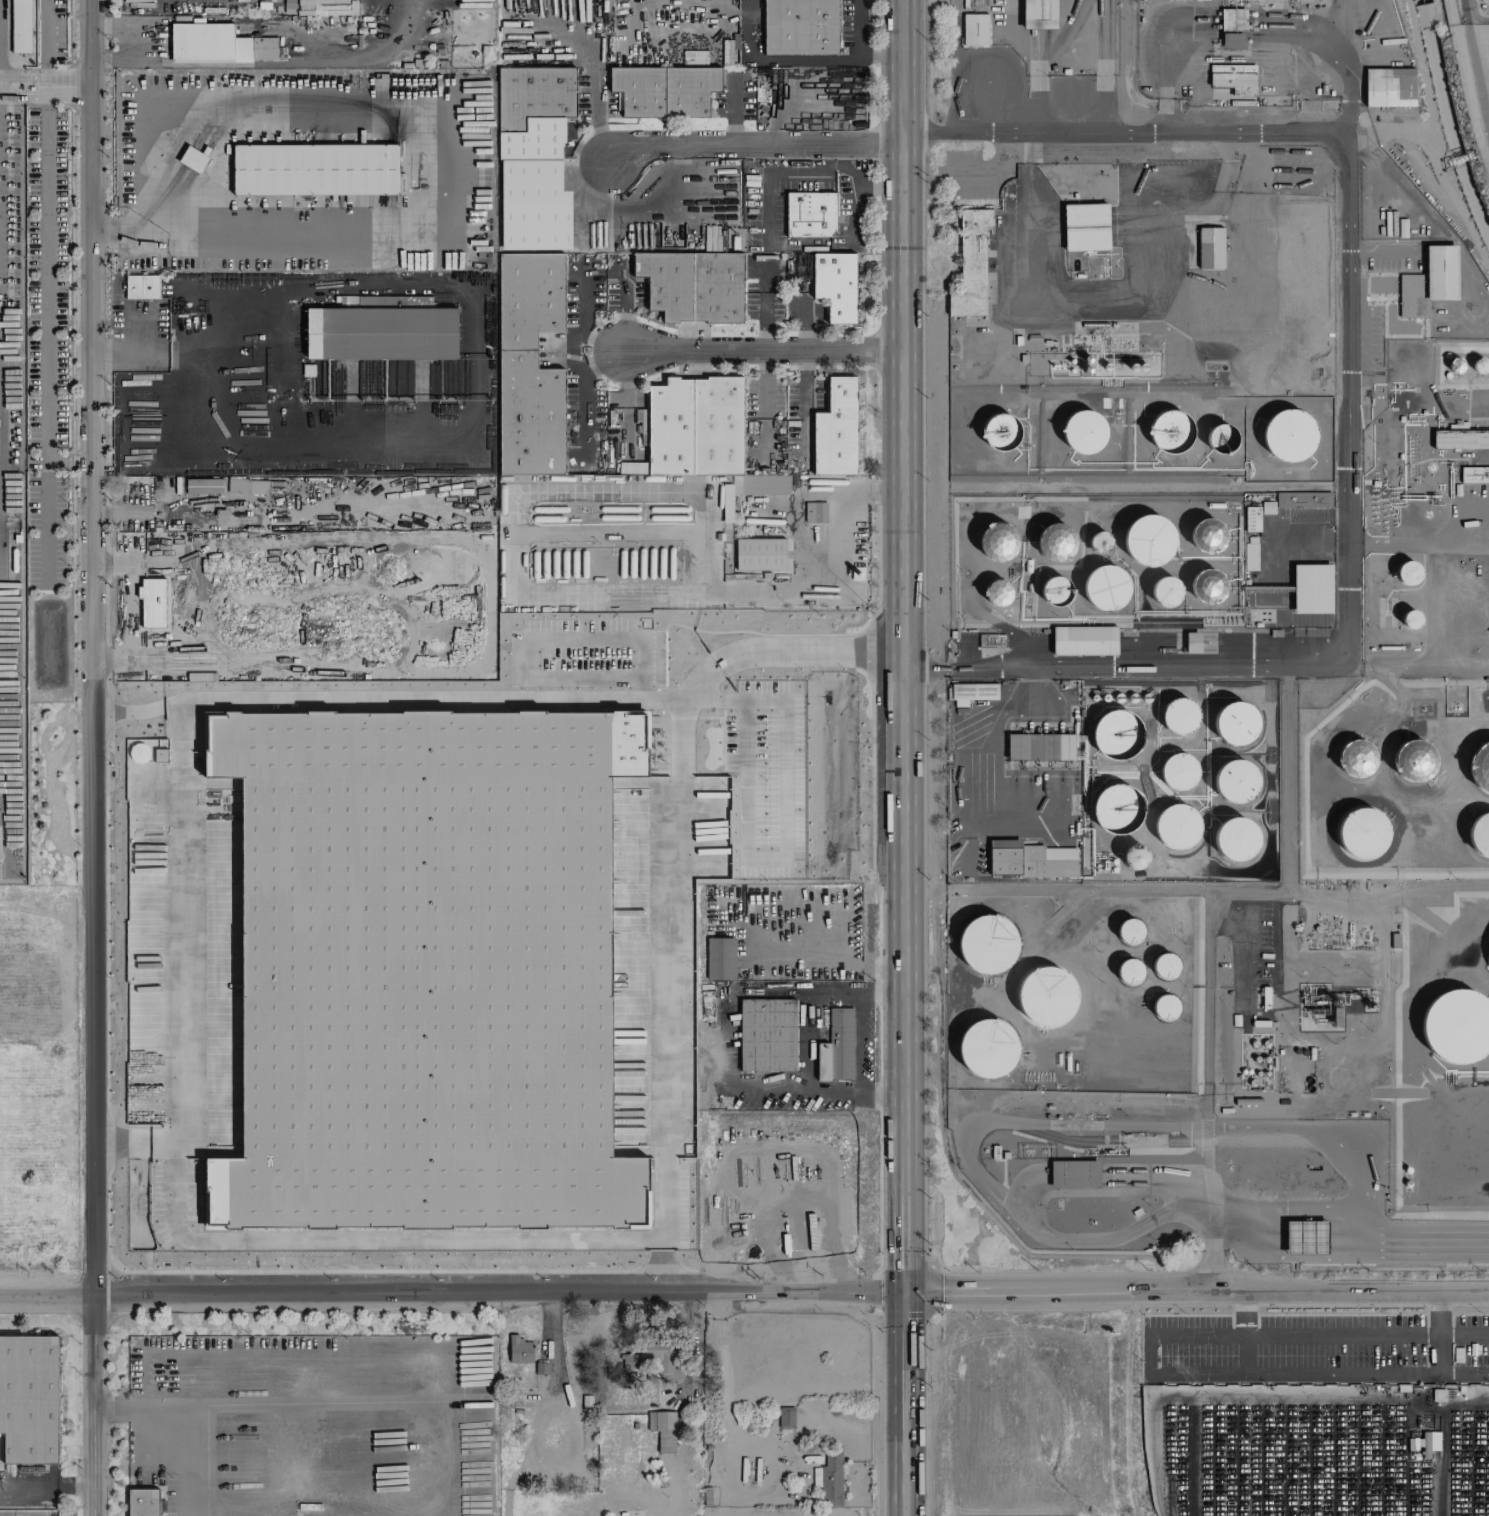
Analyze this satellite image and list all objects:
building: (284, 6)
road: (1037, 14)
building: (1039, 15)
road: (1425, 16)
building: (1232, 20)
building: (21, 26)
building: (800, 27)
building: (975, 30)
road: (1104, 38)
building: (1233, 41)
road: (137, 44)
building: (217, 45)
road: (1036, 79)
building: (1234, 80)
road: (56, 86)
road: (11, 88)
building: (1389, 88)
building: (665, 91)
road: (419, 95)
road: (1104, 104)
road: (1431, 119)
road: (1121, 133)
road: (752, 146)
building: (534, 157)
building: (315, 170)
road: (995, 172)
building: (810, 215)
building: (1086, 227)
building: (1210, 248)
road: (1379, 251)
building: (971, 264)
building: (1429, 282)
building: (835, 285)
building: (692, 286)
building: (142, 287)
road: (624, 310)
building: (382, 330)
road: (46, 332)
road: (763, 351)
building: (1086, 360)
storage tank: (1086, 360)
building: (1070, 362)
storage tank: (1070, 362)
building: (529, 366)
building: (1479, 366)
storage tank: (1479, 366)
building: (1454, 367)
storage tank: (1454, 367)
building: (1106, 368)
storage tank: (1106, 368)
building: (1132, 368)
storage tank: (1132, 368)
building: (1141, 368)
storage tank: (1141, 368)
building: (1086, 370)
storage tank: (1086, 370)
building: (1070, 371)
storage tank: (1070, 371)
road: (804, 382)
building: (696, 428)
building: (836, 431)
building: (1003, 431)
storage tank: (1003, 431)
building: (1172, 432)
storage tank: (1172, 432)
building: (1084, 434)
storage tank: (1084, 434)
building: (1289, 434)
storage tank: (1289, 434)
building: (1222, 438)
storage tank: (1222, 438)
building: (1461, 440)
building: (1474, 475)
building: (768, 486)
building: (204, 487)
building: (1303, 500)
building: (1268, 508)
building: (815, 513)
road: (164, 518)
building: (1252, 519)
building: (1208, 537)
storage tank: (1208, 537)
building: (1144, 542)
storage tank: (1144, 542)
building: (1101, 543)
storage tank: (1101, 543)
building: (1059, 544)
storage tank: (1059, 544)
road: (1429, 544)
building: (998, 546)
storage tank: (998, 546)
building: (760, 554)
building: (1406, 574)
storage tank: (1406, 574)
building: (1107, 586)
storage tank: (1107, 586)
building: (1210, 586)
storage tank: (1210, 586)
building: (1312, 589)
building: (1056, 591)
storage tank: (1056, 591)
building: (998, 593)
storage tank: (998, 593)
building: (1167, 593)
storage tank: (1167, 593)
road: (600, 594)
road: (1342, 621)
building: (1411, 621)
storage tank: (1411, 621)
building: (1084, 641)
building: (991, 642)
building: (1192, 643)
building: (973, 693)
building: (1180, 718)
storage tank: (1180, 718)
building: (1238, 725)
storage tank: (1238, 725)
road: (992, 737)
building: (1120, 737)
storage tank: (1120, 737)
building: (1041, 747)
road: (93, 757)
building: (1355, 757)
storage tank: (1355, 757)
road: (900, 758)
building: (1415, 763)
storage tank: (1415, 763)
building: (1481, 768)
storage tank: (1481, 768)
building: (1179, 772)
storage tank: (1179, 772)
building: (1240, 782)
storage tank: (1240, 782)
building: (1118, 810)
storage tank: (1118, 810)
building: (1177, 829)
storage tank: (1177, 829)
building: (1365, 834)
storage tank: (1365, 834)
building: (1481, 836)
storage tank: (1481, 836)
building: (1235, 839)
storage tank: (1235, 839)
building: (1133, 857)
storage tank: (1133, 857)
building: (1030, 861)
road: (677, 883)
road: (1204, 890)
building: (1131, 934)
storage tank: (1131, 934)
building: (992, 947)
storage tank: (992, 947)
building: (721, 960)
road: (857, 965)
building: (427, 968)
building: (1165, 969)
storage tank: (1165, 969)
building: (1130, 974)
storage tank: (1130, 974)
road: (149, 976)
road: (812, 994)
building: (1051, 1000)
storage tank: (1051, 1000)
building: (1165, 1010)
storage tank: (1165, 1010)
building: (1457, 1031)
storage tank: (1457, 1031)
building: (769, 1036)
road: (723, 1042)
road: (807, 1044)
road: (856, 1045)
building: (1253, 1045)
storage tank: (1253, 1045)
building: (1265, 1045)
storage tank: (1265, 1045)
building: (841, 1046)
parking lot: (867, 1046)
building: (989, 1051)
storage tank: (989, 1051)
building: (1256, 1060)
storage tank: (1256, 1060)
building: (1265, 1060)
storage tank: (1265, 1060)
road: (1206, 1061)
building: (1242, 1072)
storage tank: (1242, 1072)
building: (1248, 1072)
storage tank: (1248, 1072)
building: (1257, 1074)
storage tank: (1257, 1074)
building: (1265, 1074)
storage tank: (1265, 1074)
building: (1251, 1084)
storage tank: (1251, 1084)
road: (812, 1095)
road: (955, 1101)
building: (1407, 1171)
storage tank: (1407, 1171)
road: (1219, 1228)
road: (1385, 1228)
building: (1306, 1237)
road: (1055, 1289)
road: (1228, 1290)
road: (1367, 1291)
road: (450, 1294)
road: (1342, 1335)
road: (1441, 1335)
building: (519, 1350)
road: (1207, 1372)
road: (1448, 1373)
road: (1151, 1385)
road: (1349, 1397)
building: (29, 1399)
road: (192, 1405)
building: (786, 1418)
building: (663, 1430)
building: (1429, 1443)
road: (1155, 1457)
building: (831, 1479)
road: (47, 1487)
building: (143, 1503)

